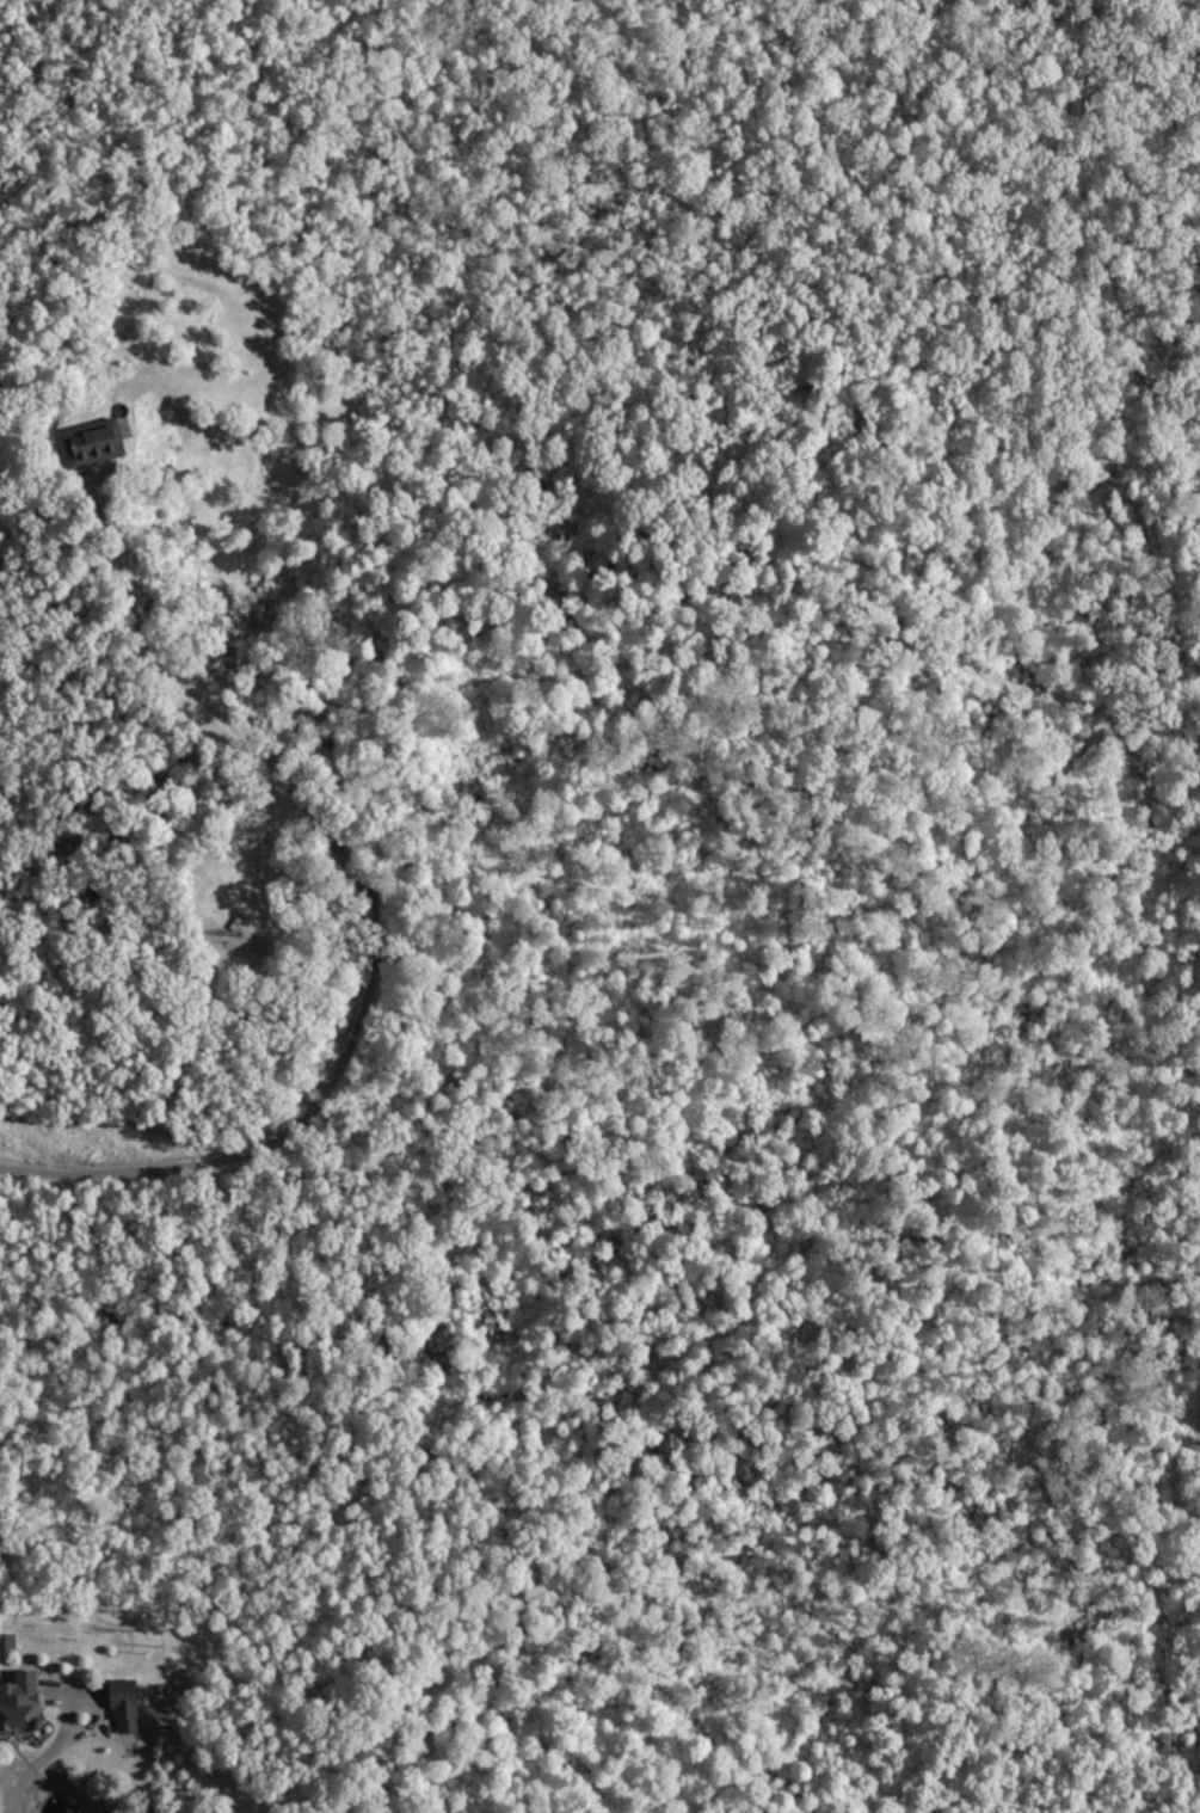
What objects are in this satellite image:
building: (90, 438)
road: (373, 920)
building: (8, 1643)
building: (128, 1706)
building: (21, 1710)
road: (42, 1759)

